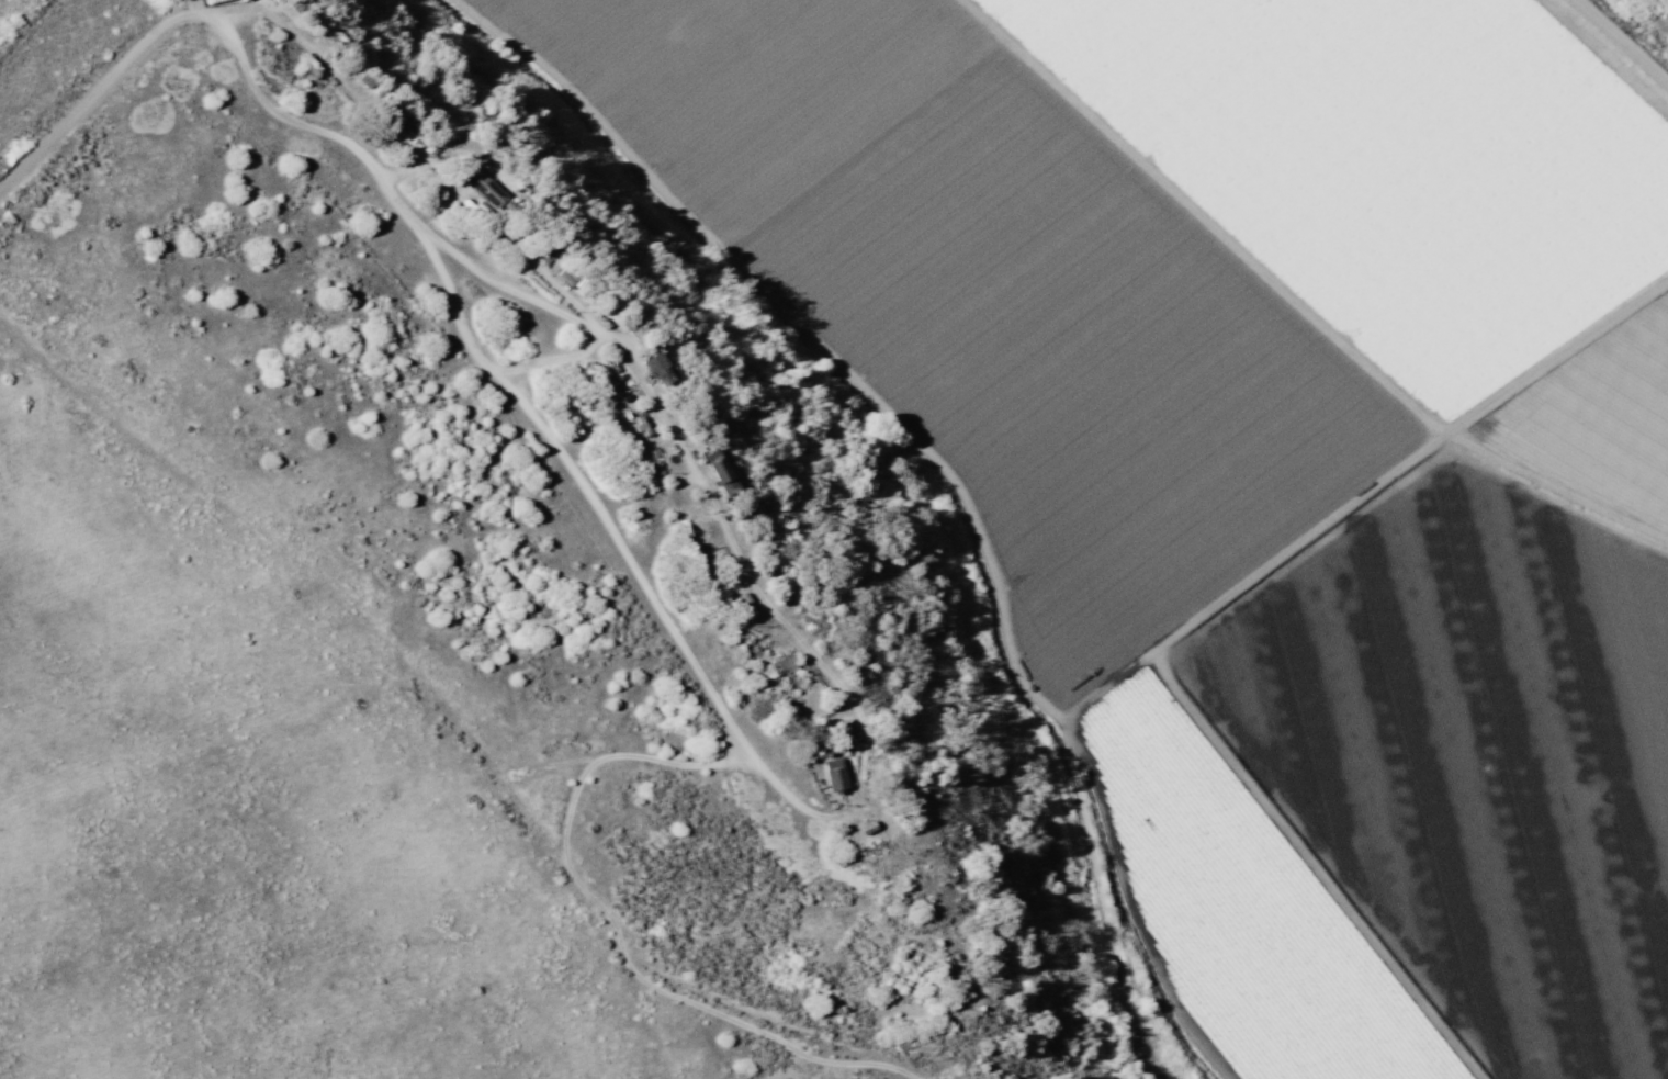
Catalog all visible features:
road: (377, 114)
building: (482, 187)
building: (568, 278)
building: (658, 369)
crop: (1259, 459)
building: (718, 472)
building: (777, 666)
building: (833, 775)

